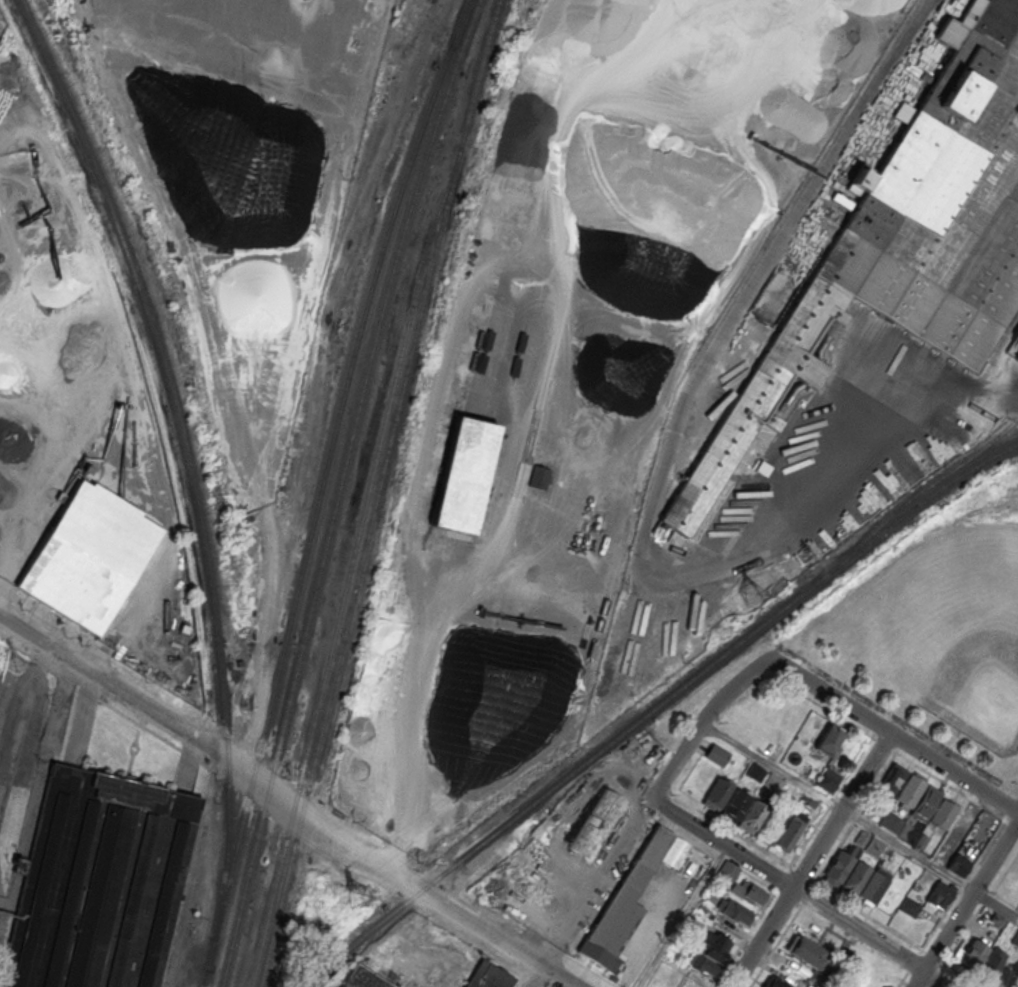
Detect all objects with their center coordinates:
landfill: (244, 179)
building: (907, 241)
building: (1016, 334)
building: (1017, 357)
road: (870, 439)
railway: (185, 456)
building: (463, 475)
building: (539, 478)
railway: (319, 489)
railway: (337, 490)
railway: (376, 492)
road: (558, 514)
building: (89, 556)
railway: (346, 573)
park: (936, 636)
power tower: (16, 664)
railway: (656, 706)
road: (22, 716)
road: (701, 722)
road: (894, 734)
building: (829, 739)
building: (717, 754)
building: (755, 772)
building: (807, 772)
building: (892, 779)
building: (828, 781)
building: (772, 783)
building: (907, 791)
building: (717, 794)
building: (924, 801)
building: (735, 804)
road: (286, 805)
building: (941, 813)
road: (838, 816)
building: (752, 817)
road: (859, 819)
building: (597, 824)
building: (791, 831)
building: (958, 864)
road: (601, 868)
building: (836, 868)
building: (854, 878)
building: (96, 882)
road: (787, 885)
building: (872, 885)
building: (747, 892)
building: (940, 894)
road: (970, 895)
power tower: (354, 899)
building: (623, 904)
building: (734, 912)
road: (973, 916)
road: (681, 917)
building: (806, 952)
building: (710, 955)
building: (983, 958)
building: (488, 976)
railway: (204, 977)
road: (538, 977)
building: (363, 978)
building: (687, 979)
road: (918, 979)
road: (932, 980)
building: (774, 982)

